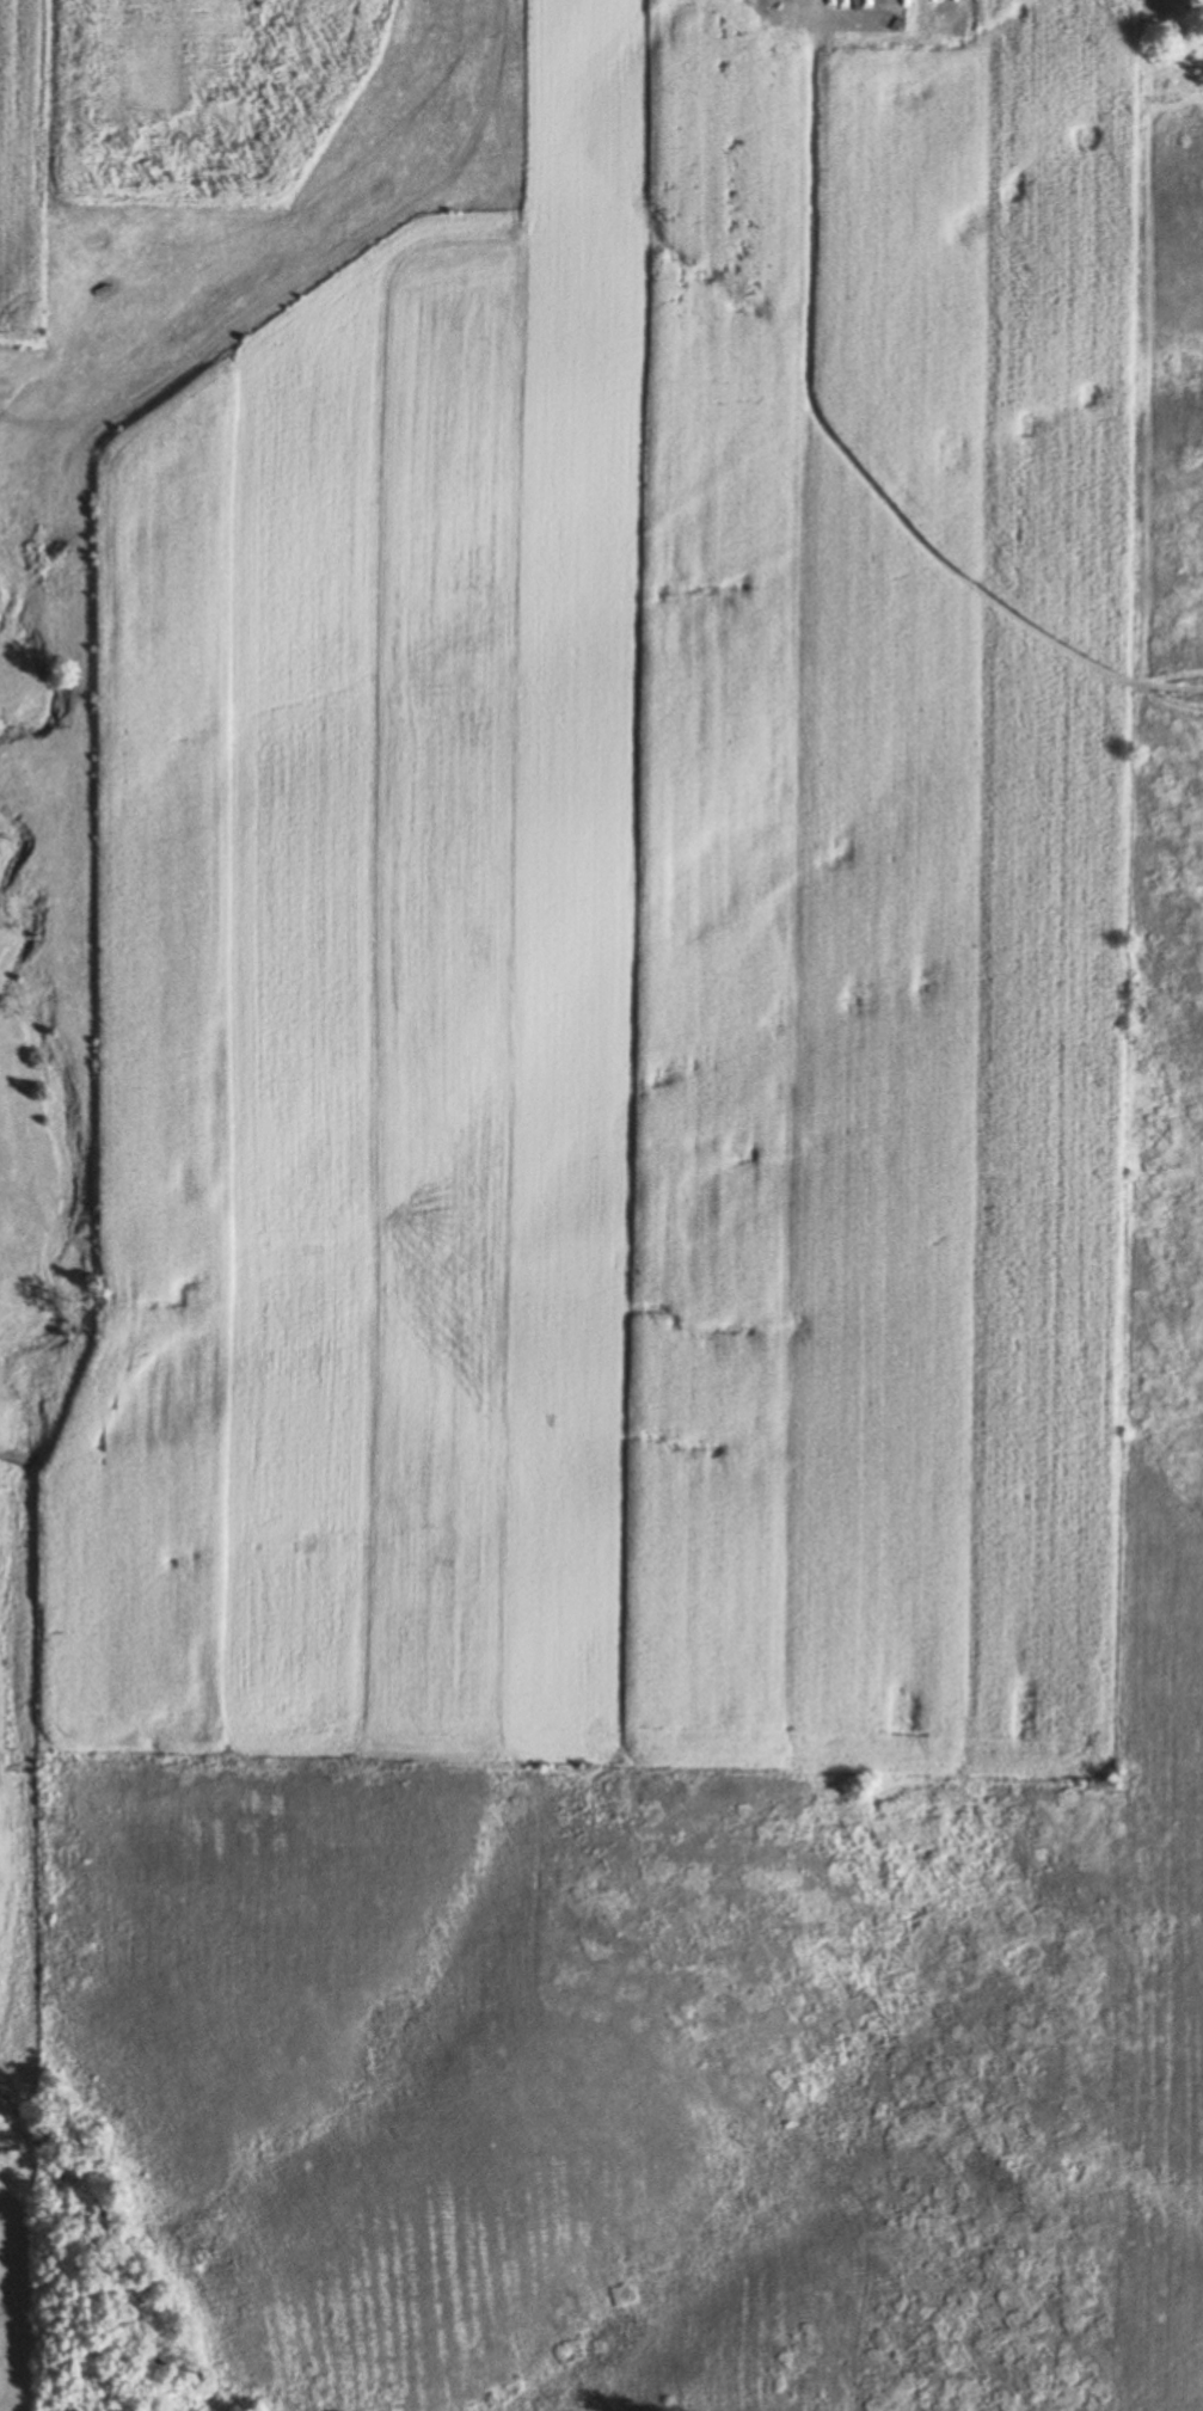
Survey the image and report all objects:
road: (836, 444)

